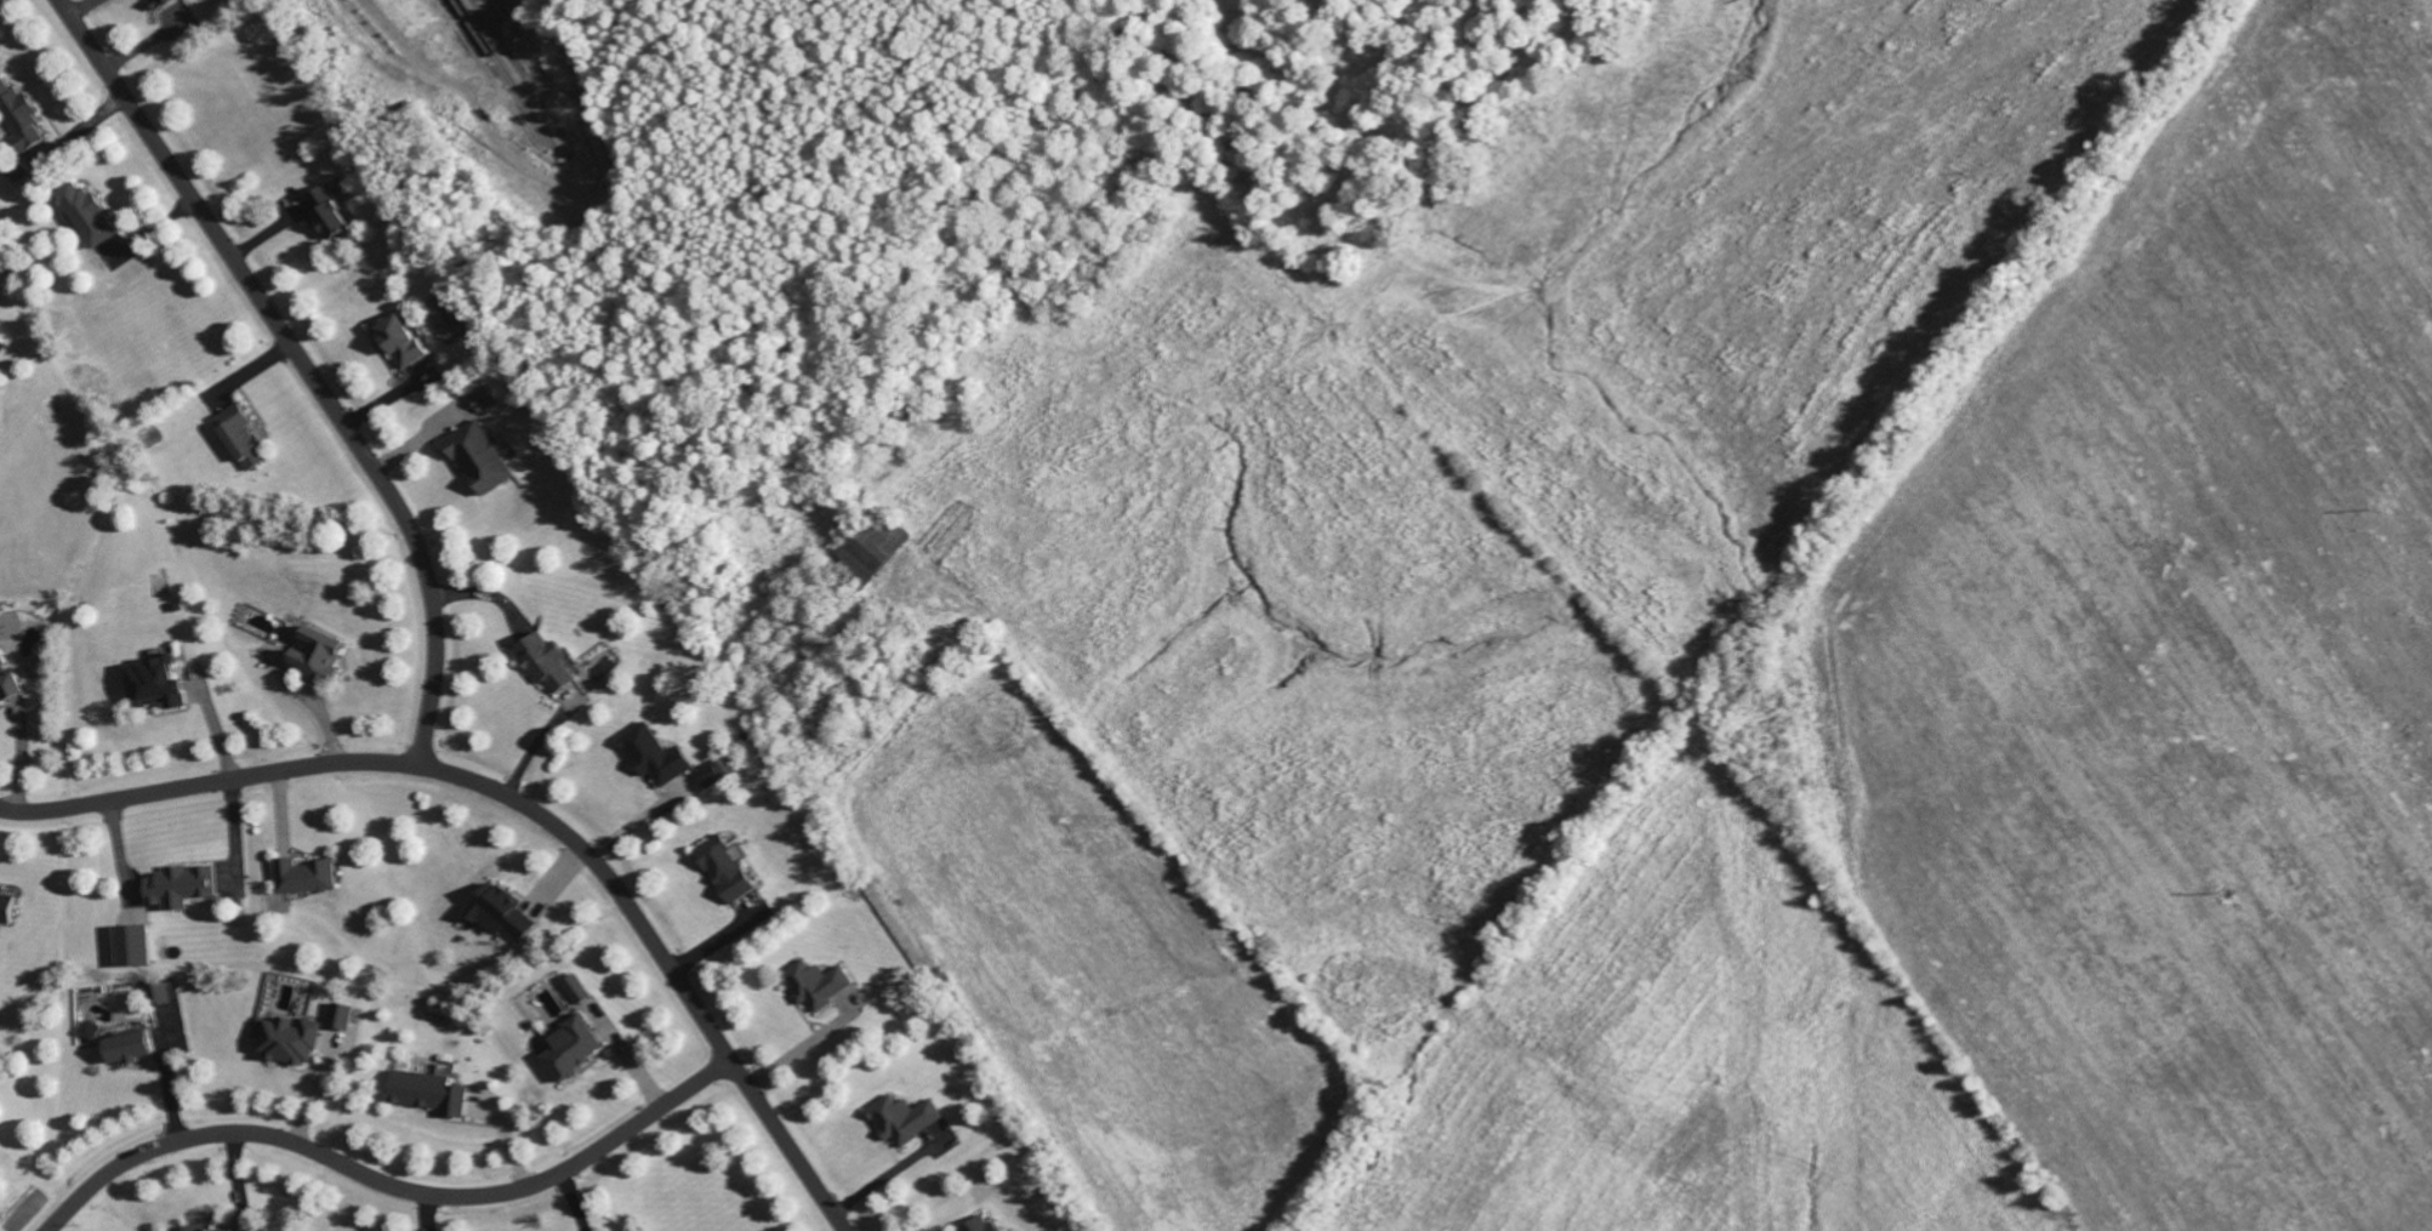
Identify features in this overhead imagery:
building: (17, 115)
building: (82, 211)
building: (323, 211)
building: (395, 340)
road: (300, 364)
building: (483, 401)
building: (239, 440)
building: (477, 458)
building: (311, 649)
building: (539, 659)
building: (6, 682)
building: (152, 682)
road: (532, 746)
building: (650, 756)
building: (706, 774)
road: (522, 807)
building: (723, 871)
building: (301, 874)
building: (176, 884)
building: (5, 907)
building: (495, 911)
building: (127, 944)
building: (811, 982)
building: (574, 986)
building: (163, 991)
building: (341, 1016)
building: (284, 1039)
building: (114, 1042)
building: (566, 1045)
building: (422, 1090)
building: (901, 1117)
road: (884, 1186)
road: (387, 1187)
road: (577, 1201)
building: (978, 1223)
building: (213, 1230)

